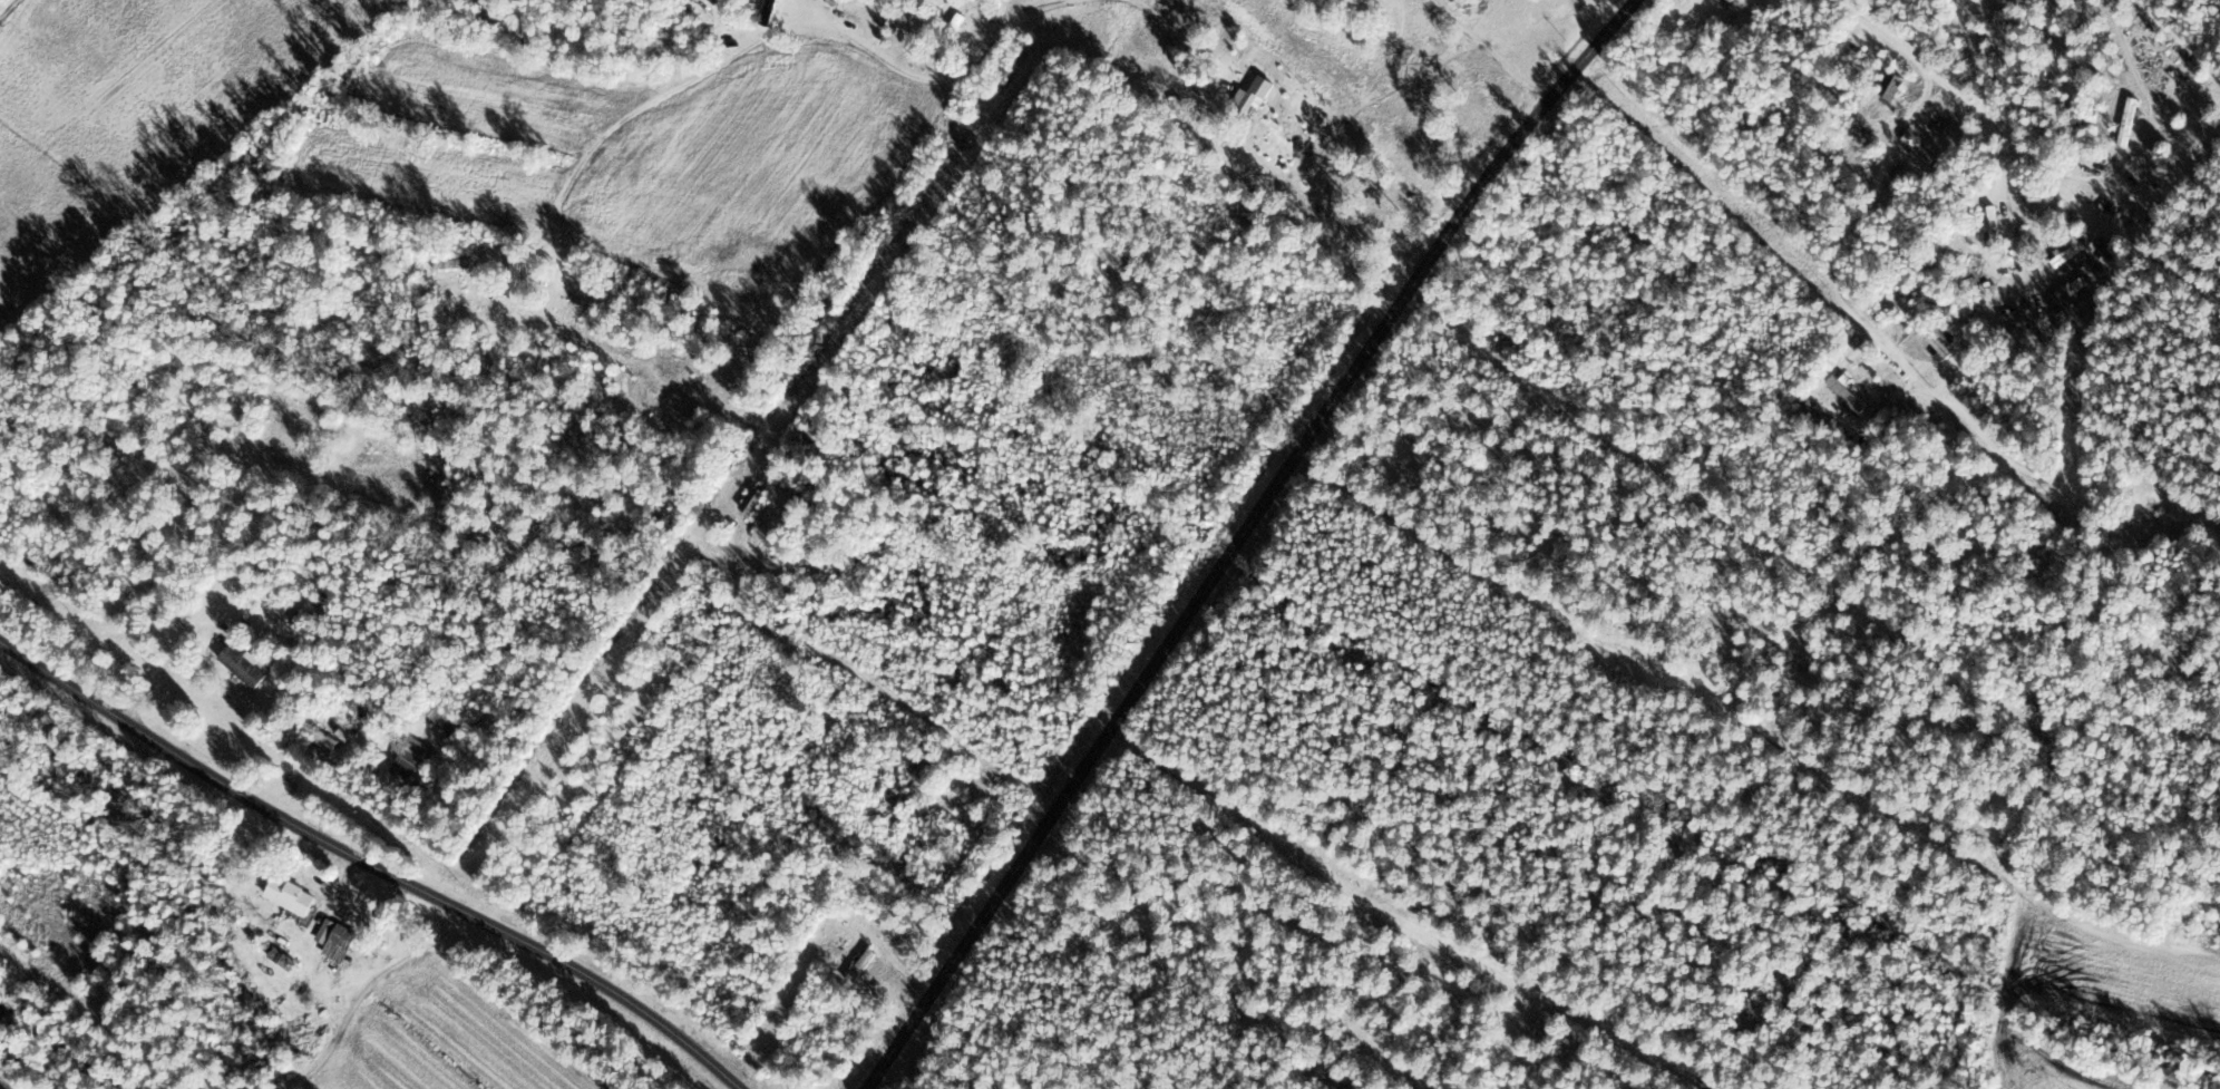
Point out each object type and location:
building: (1726, 2)
building: (767, 11)
building: (956, 22)
road: (963, 70)
building: (1891, 86)
building: (1254, 94)
road: (201, 168)
building: (1993, 224)
building: (516, 283)
building: (2064, 298)
road: (345, 315)
building: (1937, 342)
building: (1846, 393)
building: (753, 500)
road: (2080, 509)
road: (1246, 529)
building: (242, 667)
building: (454, 727)
building: (319, 736)
building: (409, 759)
building: (916, 855)
road: (373, 864)
building: (290, 896)
building: (337, 934)
building: (861, 966)

